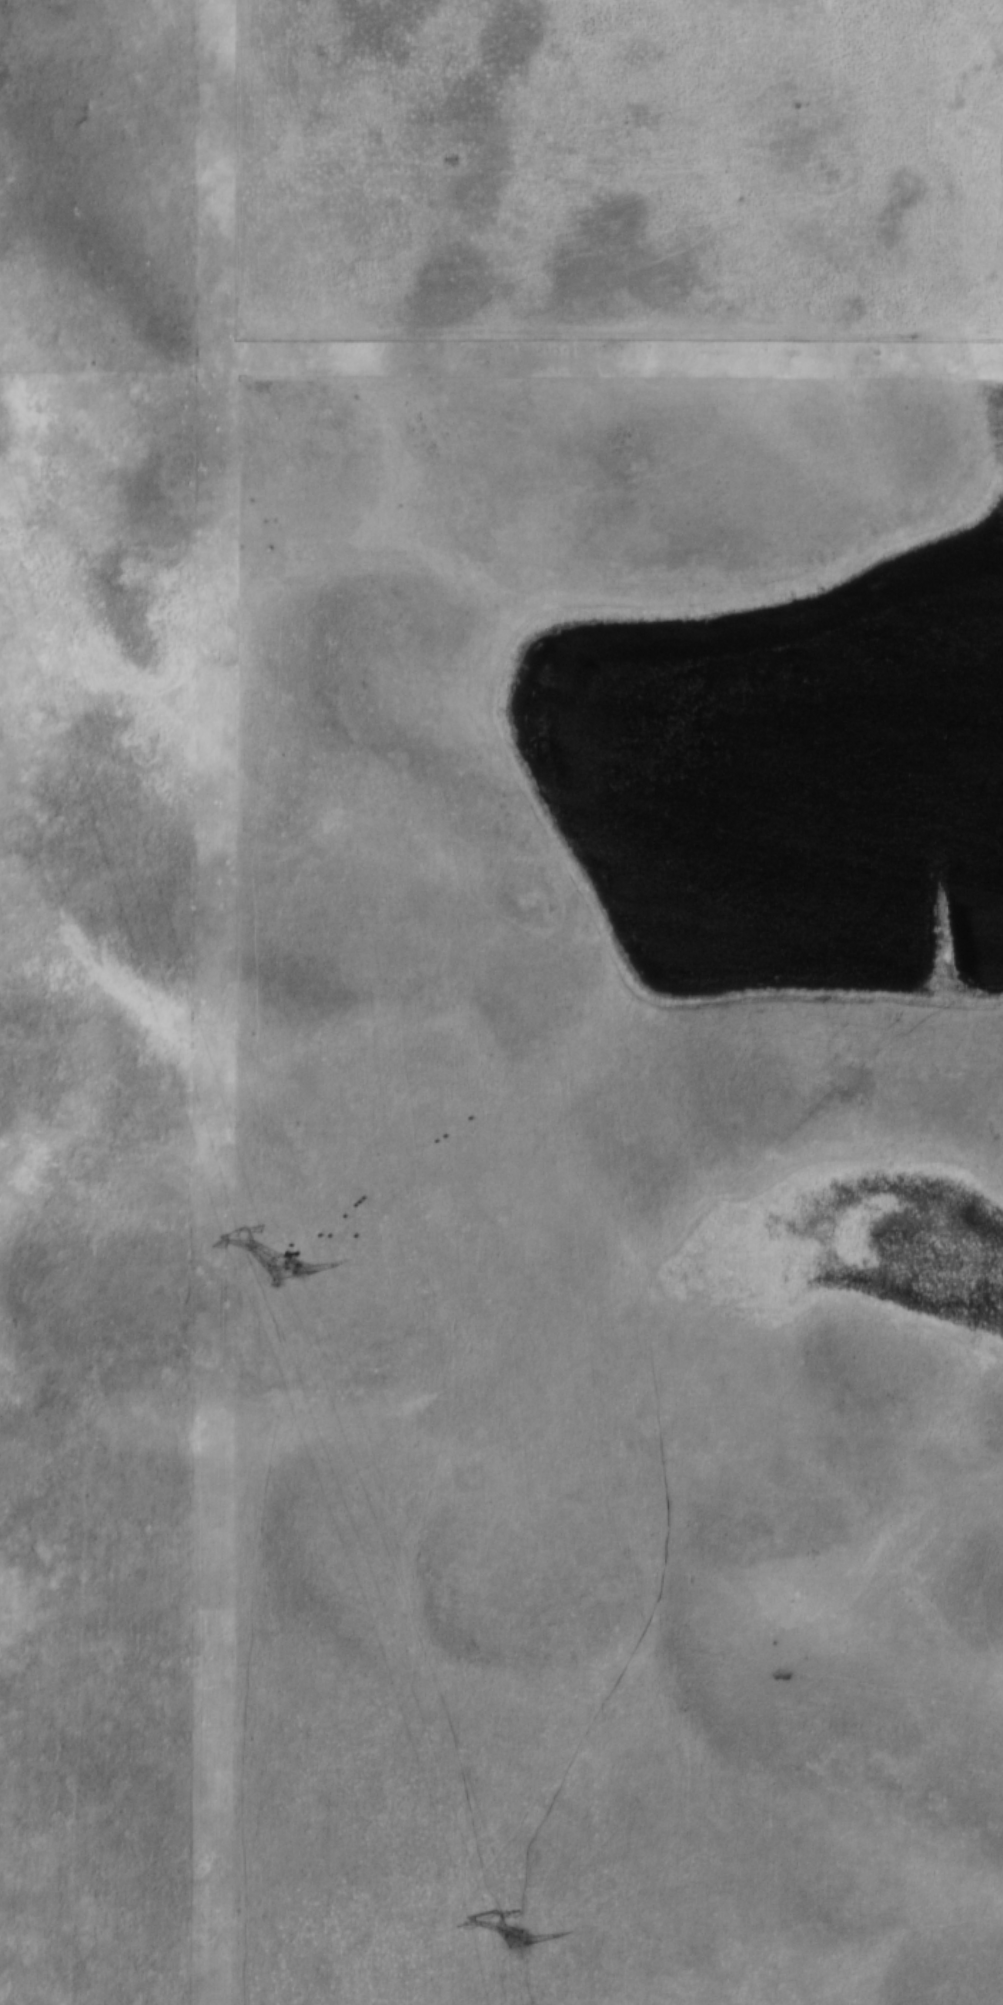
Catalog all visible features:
power tower: (284, 1269)
power tower: (516, 1940)

